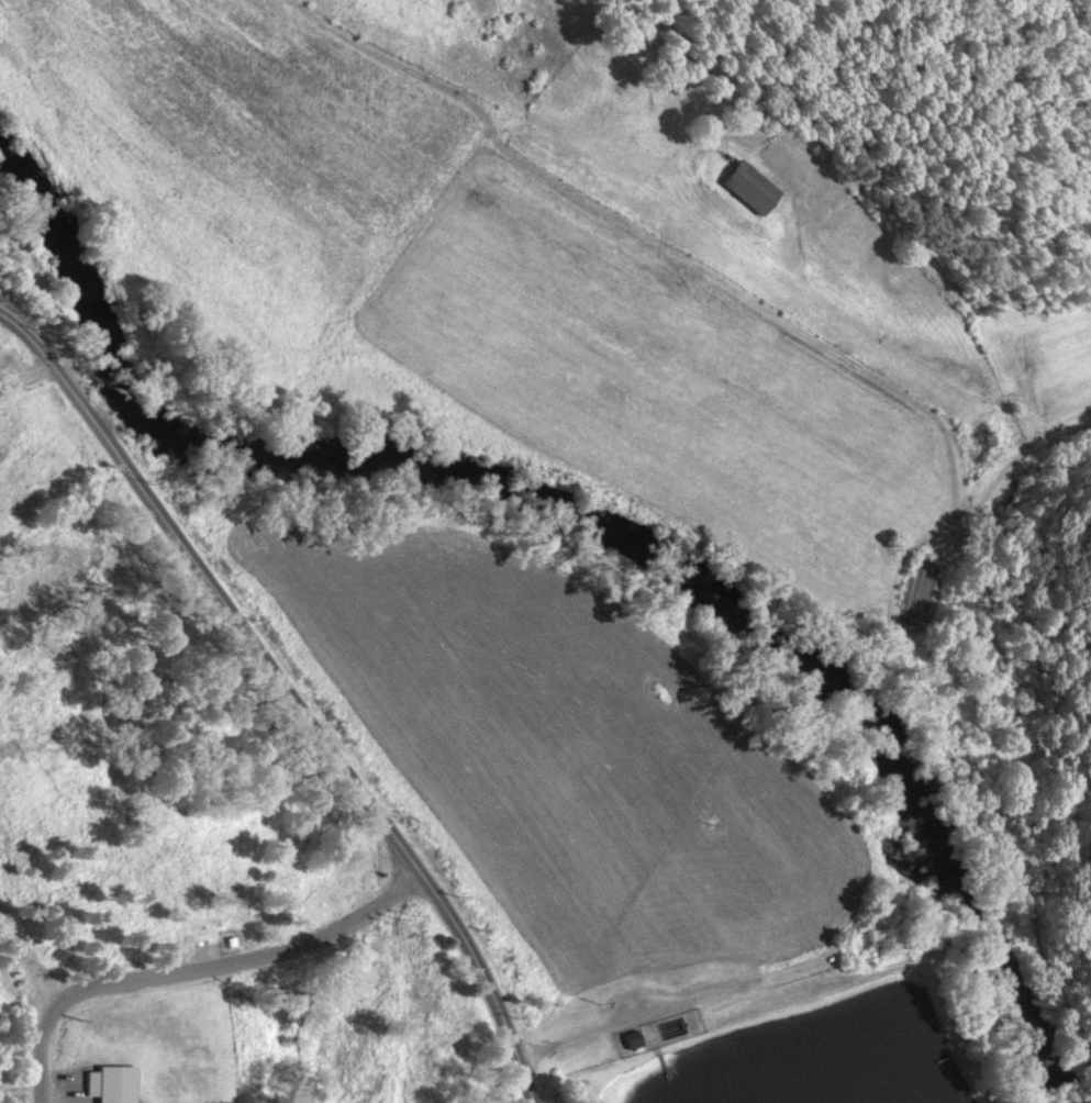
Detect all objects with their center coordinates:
building: (748, 187)
road: (44, 300)
building: (990, 436)
river: (588, 522)
road: (289, 692)
road: (248, 950)
road: (30, 1037)
building: (630, 1039)
building: (112, 1083)

